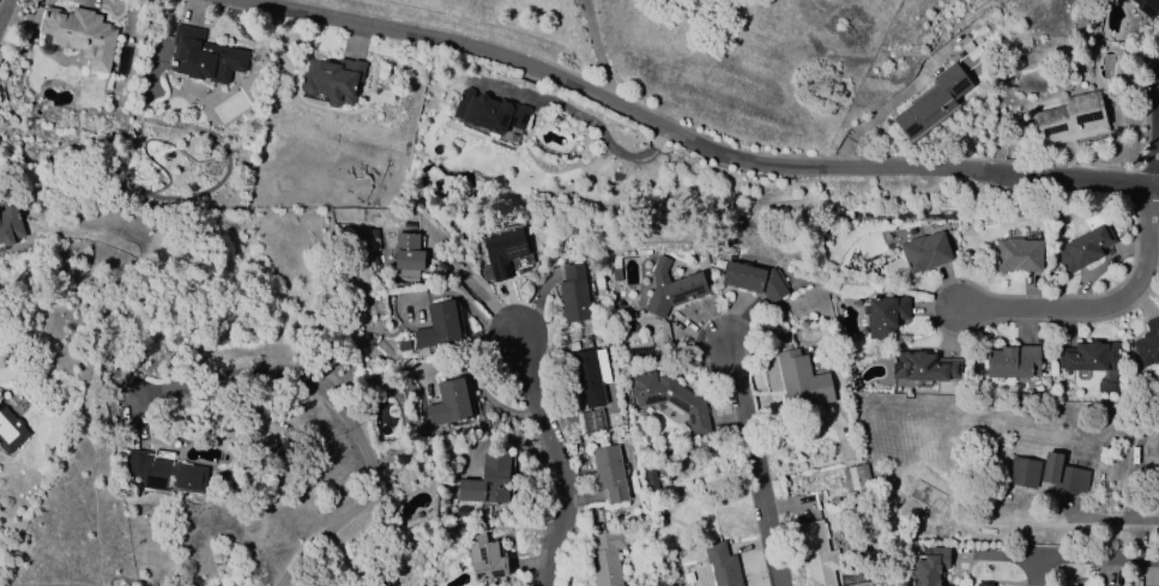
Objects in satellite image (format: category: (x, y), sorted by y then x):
road: (1, 6)
building: (1147, 7)
building: (79, 35)
road: (597, 50)
building: (973, 54)
building: (203, 56)
building: (333, 79)
building: (932, 102)
road: (888, 105)
building: (489, 111)
road: (1155, 116)
building: (1070, 119)
road: (590, 121)
road: (686, 139)
building: (10, 224)
building: (1083, 248)
building: (924, 252)
building: (501, 253)
building: (1018, 255)
building: (406, 256)
building: (755, 280)
building: (671, 288)
road: (478, 291)
building: (573, 295)
road: (1113, 304)
building: (628, 315)
building: (883, 316)
building: (437, 328)
building: (1148, 343)
building: (403, 346)
building: (1013, 361)
building: (1092, 362)
building: (923, 367)
building: (590, 375)
building: (801, 380)
building: (670, 401)
building: (447, 403)
road: (339, 405)
building: (590, 421)
building: (10, 430)
building: (282, 449)
road: (556, 460)
road: (756, 466)
building: (163, 472)
building: (609, 472)
building: (1022, 472)
building: (1062, 475)
building: (650, 479)
building: (856, 479)
building: (488, 481)
building: (657, 519)
road: (1115, 521)
building: (817, 555)
building: (484, 557)
building: (605, 558)
road: (1056, 561)
building: (722, 564)
building: (930, 567)
building: (982, 584)

